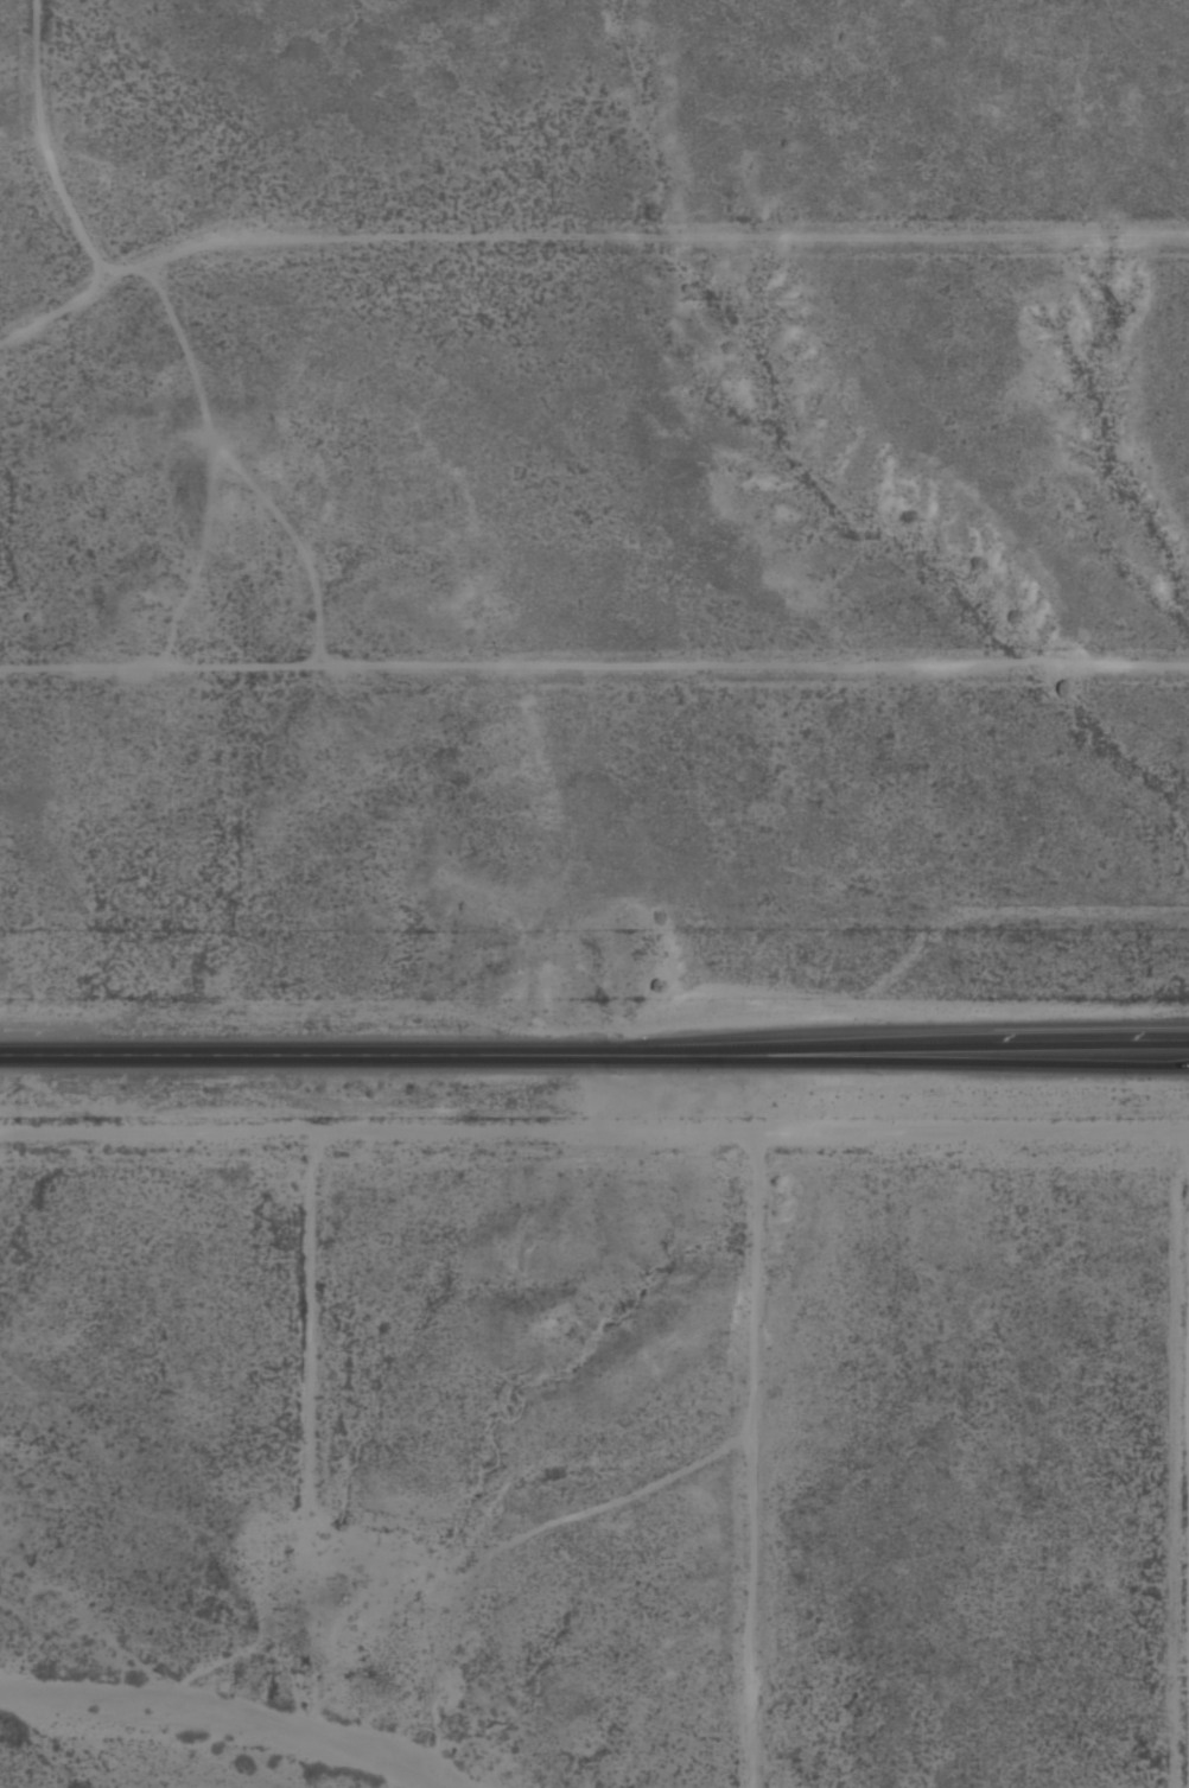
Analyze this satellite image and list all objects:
road: (45, 145)
road: (583, 238)
road: (594, 673)
road: (594, 1043)

